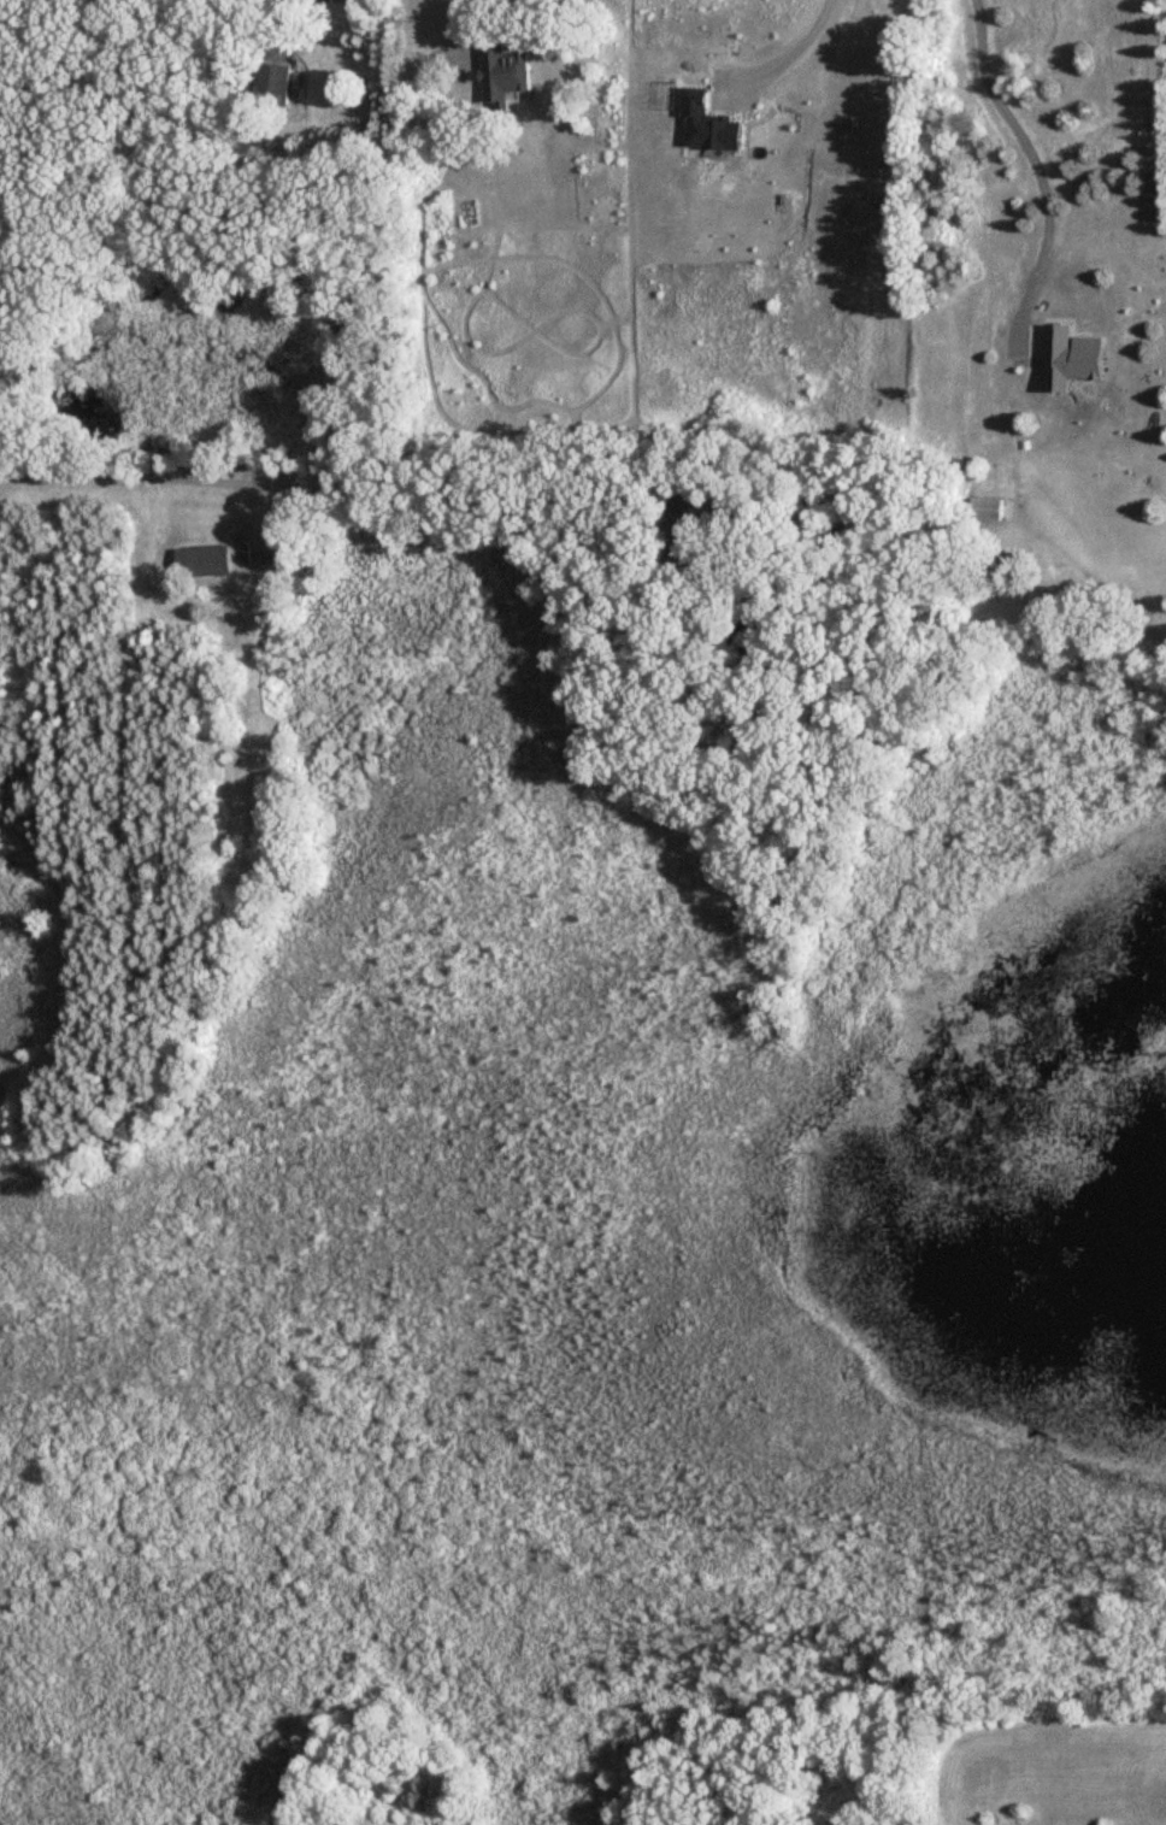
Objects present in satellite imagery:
road: (455, 23)
road: (790, 47)
building: (508, 75)
building: (272, 82)
road: (94, 118)
building: (705, 123)
road: (155, 473)
building: (985, 510)
building: (206, 563)
crop: (1052, 1772)

